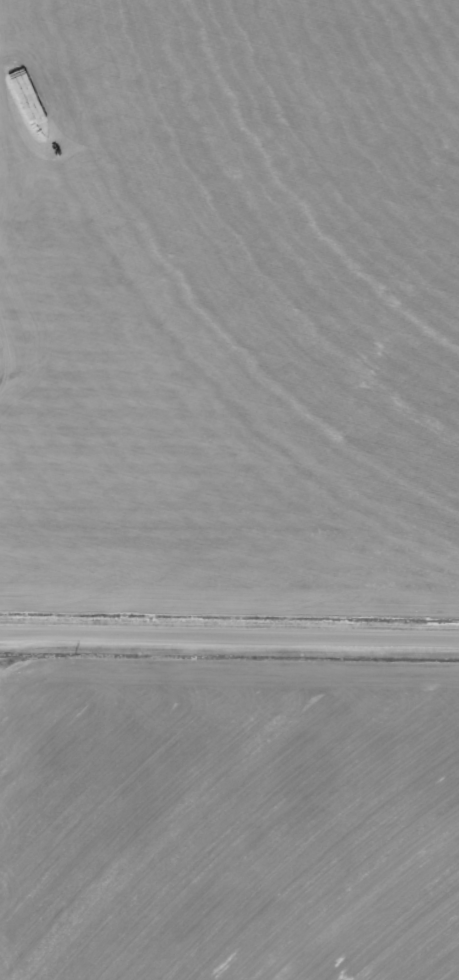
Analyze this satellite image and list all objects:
road: (229, 635)

